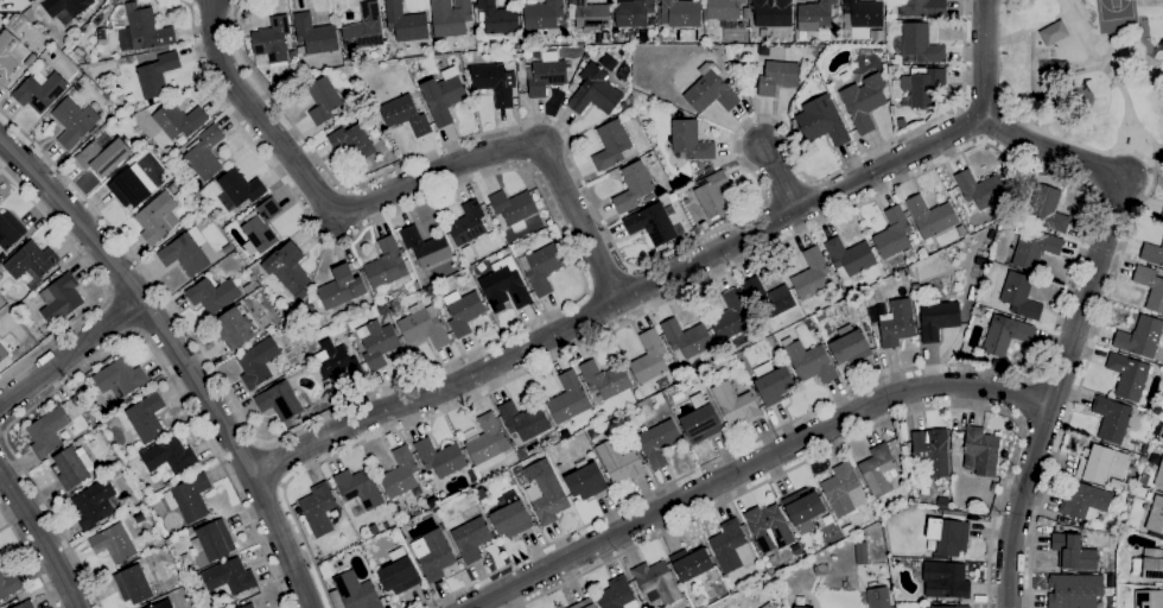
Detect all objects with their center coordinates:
road: (11, 2)
building: (922, 7)
building: (64, 9)
building: (723, 9)
building: (633, 12)
building: (745, 12)
building: (771, 12)
building: (680, 13)
building: (816, 13)
building: (862, 13)
building: (544, 14)
building: (587, 14)
building: (450, 17)
building: (498, 17)
building: (403, 23)
building: (364, 27)
building: (144, 30)
building: (314, 33)
building: (877, 34)
building: (606, 36)
building: (478, 38)
building: (272, 39)
building: (921, 43)
building: (587, 52)
building: (8, 53)
building: (292, 55)
road: (985, 58)
building: (30, 59)
building: (347, 62)
park: (1085, 71)
building: (157, 74)
building: (547, 74)
road: (1112, 75)
building: (777, 76)
building: (495, 82)
building: (922, 84)
building: (77, 85)
building: (710, 89)
building: (39, 90)
building: (595, 90)
building: (443, 97)
building: (323, 99)
building: (864, 101)
building: (344, 114)
building: (405, 114)
building: (179, 120)
building: (822, 120)
building: (74, 121)
road: (1123, 123)
building: (93, 131)
building: (689, 140)
building: (352, 141)
building: (611, 144)
building: (205, 152)
building: (103, 156)
building: (389, 157)
road: (1012, 157)
road: (778, 177)
building: (240, 186)
building: (633, 186)
building: (129, 188)
building: (173, 189)
road: (394, 189)
building: (980, 189)
building: (713, 194)
building: (514, 207)
building: (1048, 207)
building: (1162, 214)
building: (930, 216)
building: (157, 217)
building: (468, 222)
building: (652, 223)
building: (261, 227)
building: (9, 229)
building: (695, 229)
building: (961, 229)
building: (894, 233)
building: (425, 246)
building: (1035, 248)
building: (1152, 253)
building: (184, 254)
road: (621, 255)
building: (849, 256)
building: (980, 261)
building: (30, 262)
building: (389, 265)
building: (544, 267)
building: (288, 270)
building: (812, 273)
building: (0, 274)
road: (606, 278)
road: (100, 280)
building: (915, 285)
building: (1150, 286)
building: (248, 287)
building: (341, 287)
building: (504, 287)
road: (618, 293)
building: (214, 294)
building: (1018, 294)
building: (768, 297)
building: (61, 298)
road: (1107, 299)
building: (310, 306)
building: (463, 310)
building: (979, 310)
road: (120, 313)
building: (821, 315)
building: (730, 316)
building: (938, 318)
road: (1079, 319)
building: (896, 321)
road: (529, 323)
building: (809, 324)
building: (237, 325)
building: (424, 328)
building: (1006, 334)
building: (1140, 336)
building: (686, 337)
building: (379, 343)
building: (850, 346)
road: (114, 348)
road: (70, 350)
building: (2, 353)
road: (182, 355)
building: (649, 357)
building: (337, 361)
building: (811, 361)
building: (258, 362)
building: (996, 362)
building: (1129, 375)
building: (119, 376)
building: (604, 378)
building: (773, 382)
road: (1025, 397)
building: (659, 398)
building: (76, 400)
building: (282, 400)
building: (571, 400)
building: (736, 404)
building: (144, 417)
building: (1111, 418)
building: (523, 419)
building: (700, 419)
road: (1, 431)
building: (47, 431)
building: (659, 441)
road: (846, 441)
building: (487, 443)
building: (983, 449)
building: (932, 450)
building: (169, 455)
building: (440, 457)
building: (619, 461)
road: (272, 463)
road: (752, 463)
building: (1101, 463)
building: (72, 467)
building: (1139, 467)
building: (878, 469)
building: (400, 473)
building: (1159, 475)
building: (1144, 479)
building: (585, 480)
building: (993, 486)
building: (360, 487)
building: (844, 489)
building: (189, 498)
building: (549, 498)
building: (433, 500)
building: (501, 500)
building: (942, 501)
building: (1085, 501)
building: (95, 502)
building: (803, 506)
building: (318, 508)
building: (398, 508)
building: (952, 514)
building: (864, 515)
building: (1156, 515)
building: (511, 518)
building: (769, 527)
building: (93, 528)
building: (373, 528)
building: (847, 528)
building: (190, 530)
building: (1156, 534)
building: (948, 536)
building: (471, 538)
building: (212, 539)
road: (40, 541)
building: (113, 543)
building: (731, 546)
building: (197, 551)
building: (1073, 551)
building: (860, 552)
building: (433, 553)
road: (28, 558)
building: (891, 560)
building: (691, 563)
building: (1152, 564)
building: (399, 571)
building: (229, 576)
building: (946, 579)
building: (656, 581)
building: (8, 584)
building: (133, 584)
building: (1075, 590)
building: (356, 591)
building: (617, 595)
building: (879, 597)
building: (1149, 598)
building: (584, 603)
building: (24, 604)
building: (161, 604)
building: (247, 606)
building: (768, 606)
building: (949, 606)
building: (797, 607)
building: (923, 607)

